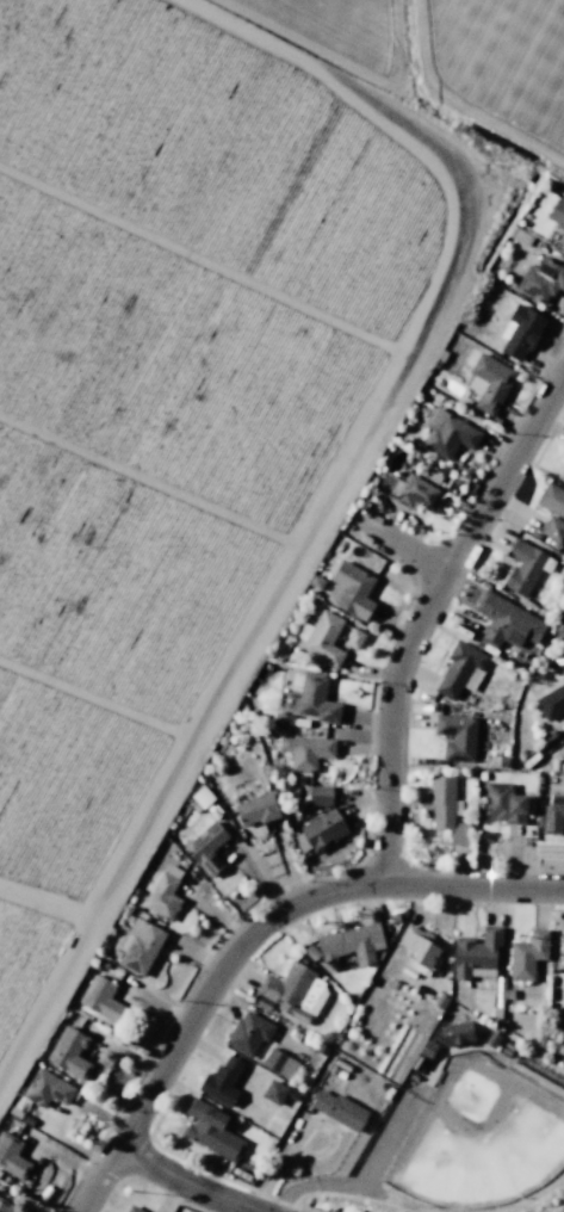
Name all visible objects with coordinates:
building: (557, 211)
building: (517, 235)
building: (562, 239)
building: (540, 279)
building: (520, 330)
crop: (202, 345)
building: (488, 383)
building: (448, 433)
building: (414, 489)
building: (552, 511)
road: (398, 544)
building: (522, 567)
building: (316, 581)
building: (351, 589)
road: (424, 610)
building: (507, 622)
building: (558, 627)
building: (324, 638)
building: (354, 639)
building: (460, 670)
building: (316, 699)
building: (551, 703)
building: (283, 718)
building: (457, 734)
building: (308, 750)
building: (320, 796)
building: (202, 797)
building: (503, 802)
building: (258, 809)
building: (446, 809)
building: (553, 814)
building: (320, 830)
building: (206, 848)
building: (163, 892)
road: (249, 933)
building: (349, 945)
building: (138, 946)
building: (419, 948)
building: (310, 953)
building: (477, 954)
building: (527, 954)
building: (295, 991)
building: (100, 998)
building: (248, 1033)
building: (457, 1033)
building: (69, 1053)
building: (279, 1062)
building: (222, 1082)
building: (47, 1088)
building: (274, 1092)
building: (18, 1105)
building: (339, 1109)
park: (466, 1126)
building: (211, 1130)
park: (479, 1137)
building: (12, 1157)
road: (186, 1181)
building: (5, 1205)
building: (135, 1210)
building: (151, 1211)

